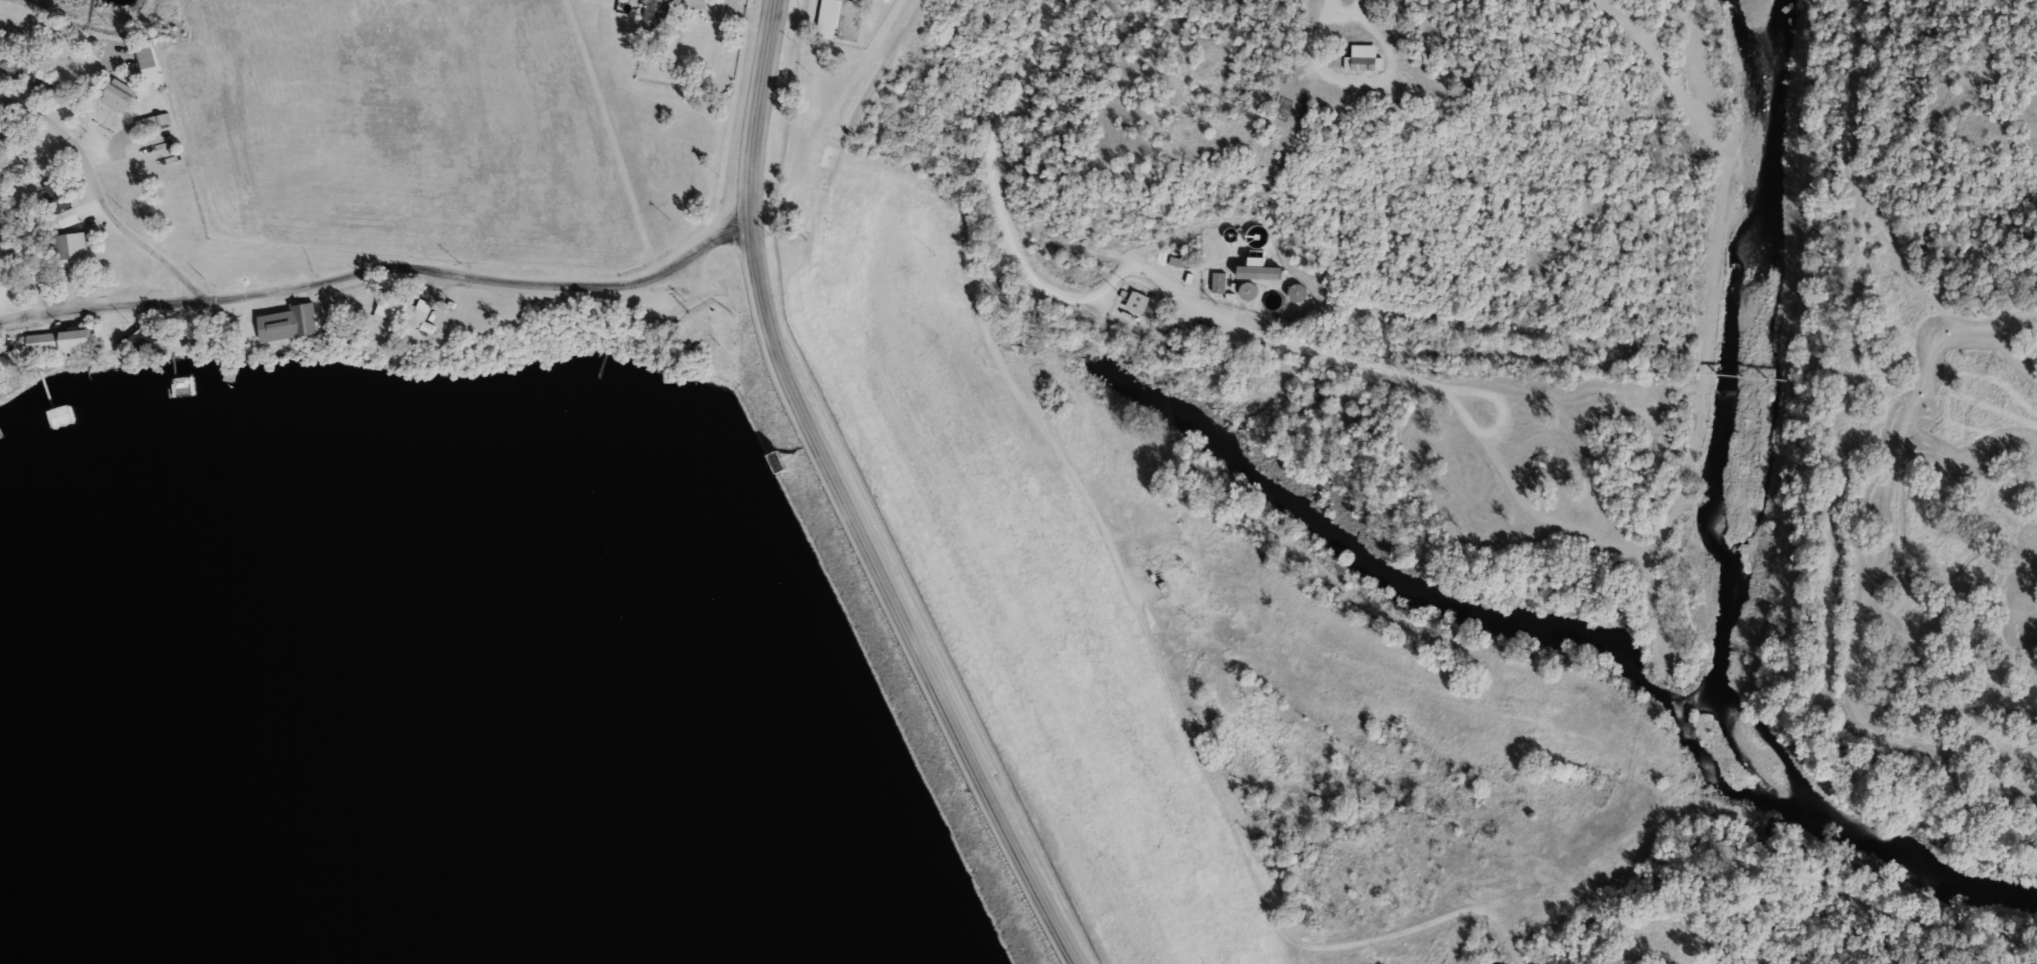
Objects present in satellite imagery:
building: (657, 14)
building: (828, 18)
road: (744, 19)
building: (1361, 57)
building: (149, 62)
building: (15, 64)
building: (41, 85)
building: (120, 94)
building: (8, 136)
road: (613, 138)
road: (103, 196)
building: (70, 216)
building: (73, 249)
road: (382, 270)
building: (1255, 270)
building: (415, 311)
building: (305, 313)
road: (1951, 315)
road: (1873, 327)
building: (140, 338)
building: (80, 339)
building: (44, 342)
road: (1284, 349)
building: (113, 408)
building: (784, 460)
road: (1063, 462)
road: (849, 499)
dam: (870, 672)
river: (1787, 826)

